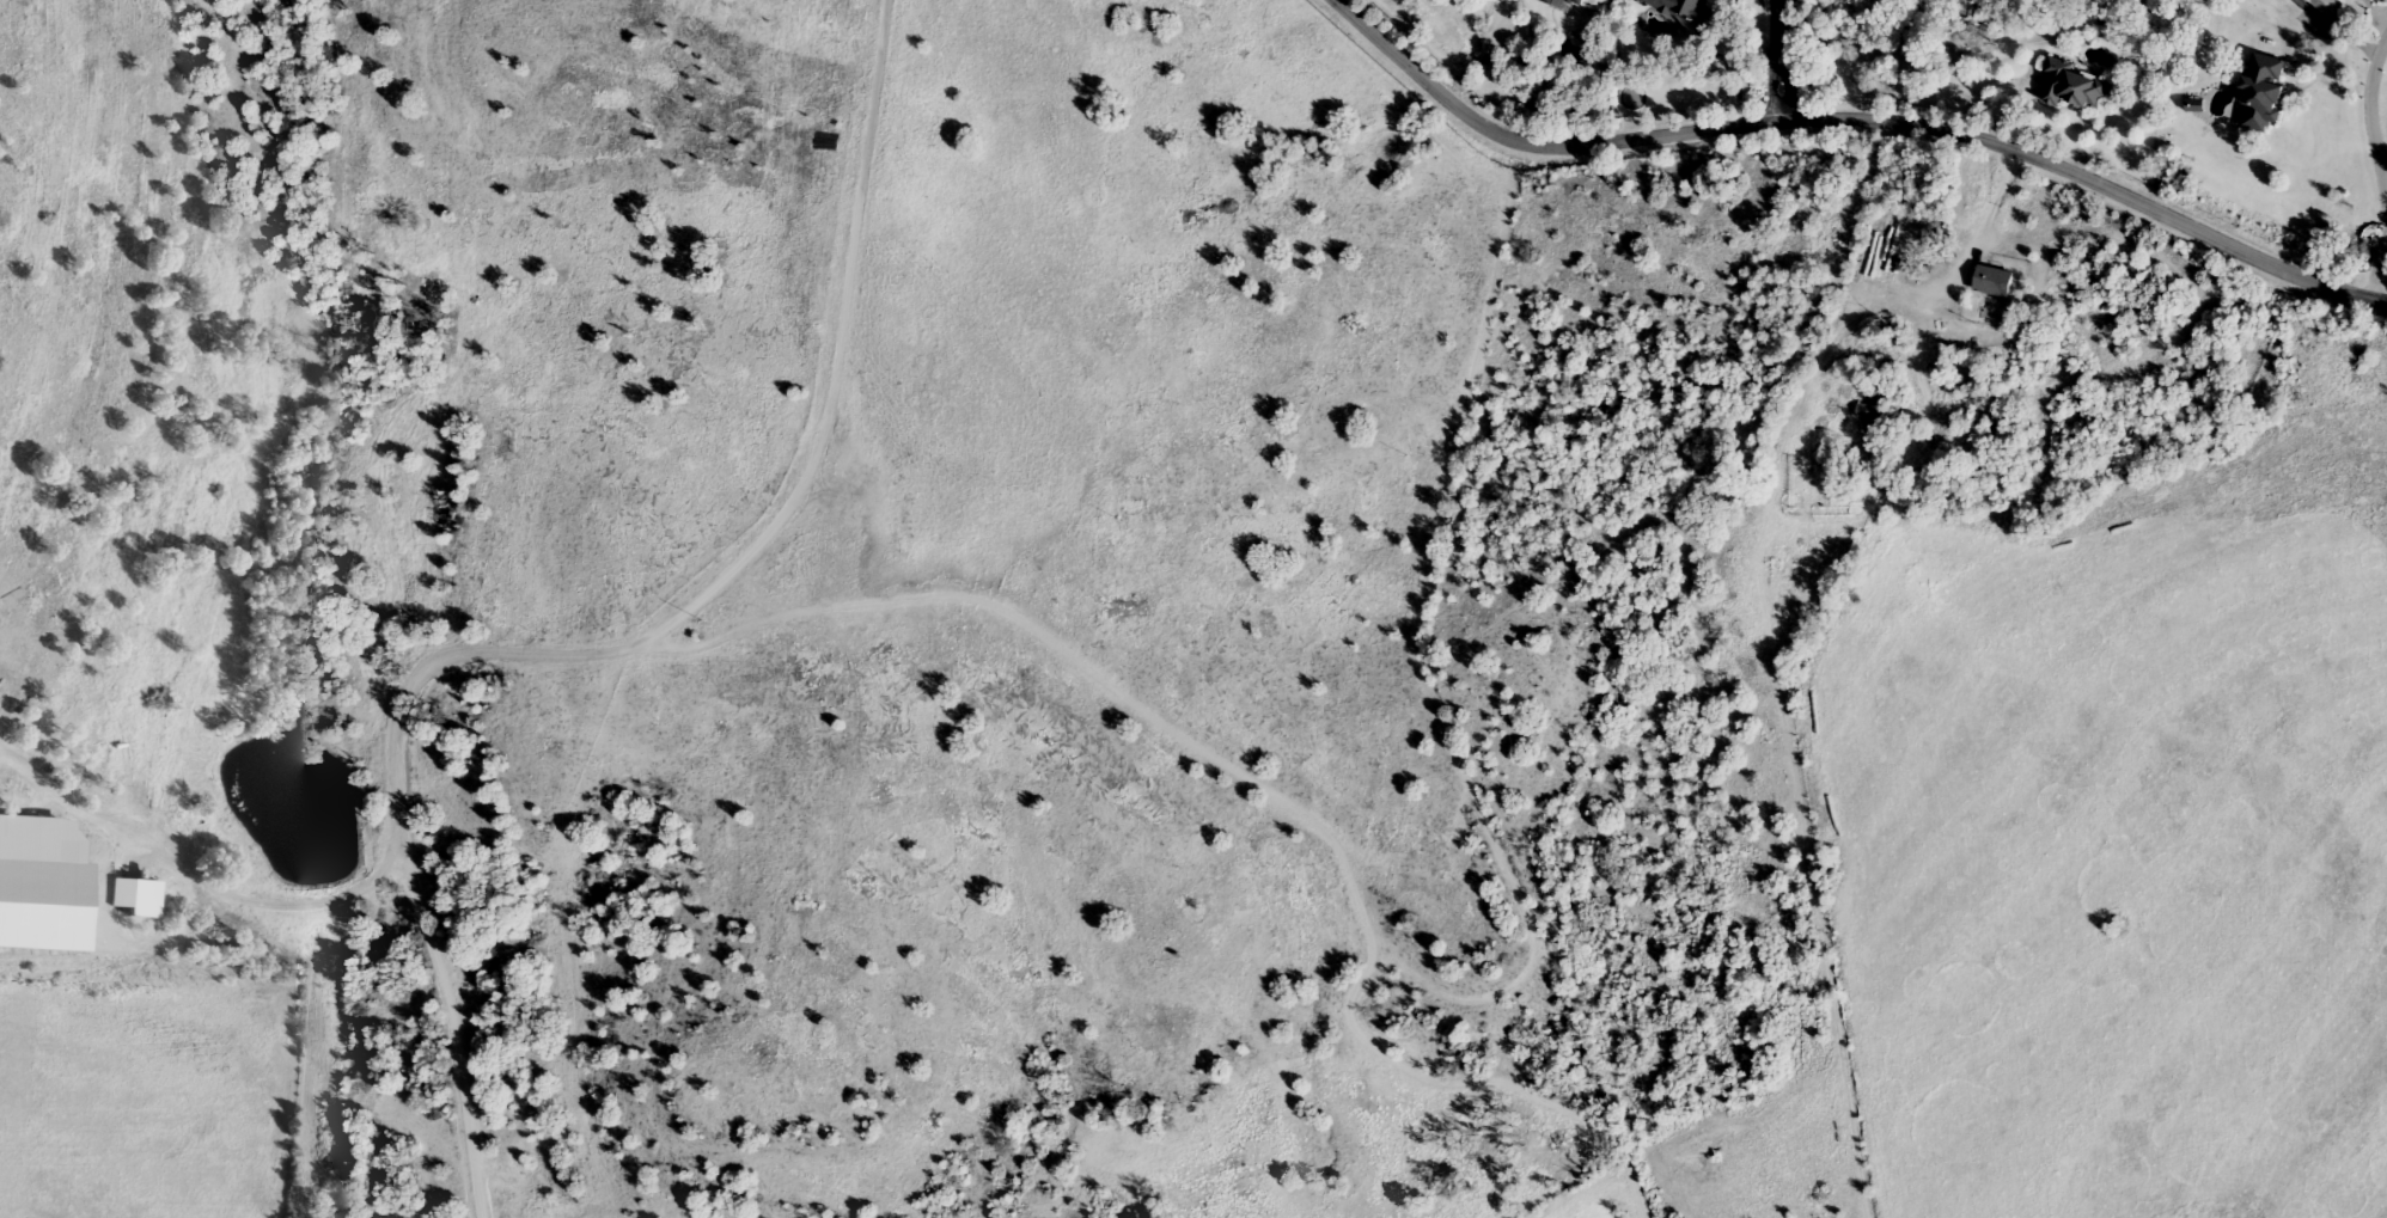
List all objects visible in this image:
building: (1564, 4)
building: (2328, 12)
road: (1784, 60)
road: (2325, 80)
building: (2075, 87)
road: (1887, 92)
building: (2265, 93)
road: (2377, 111)
road: (1850, 121)
road: (1972, 252)
building: (1995, 282)
building: (1876, 408)
road: (610, 651)
road: (200, 882)

